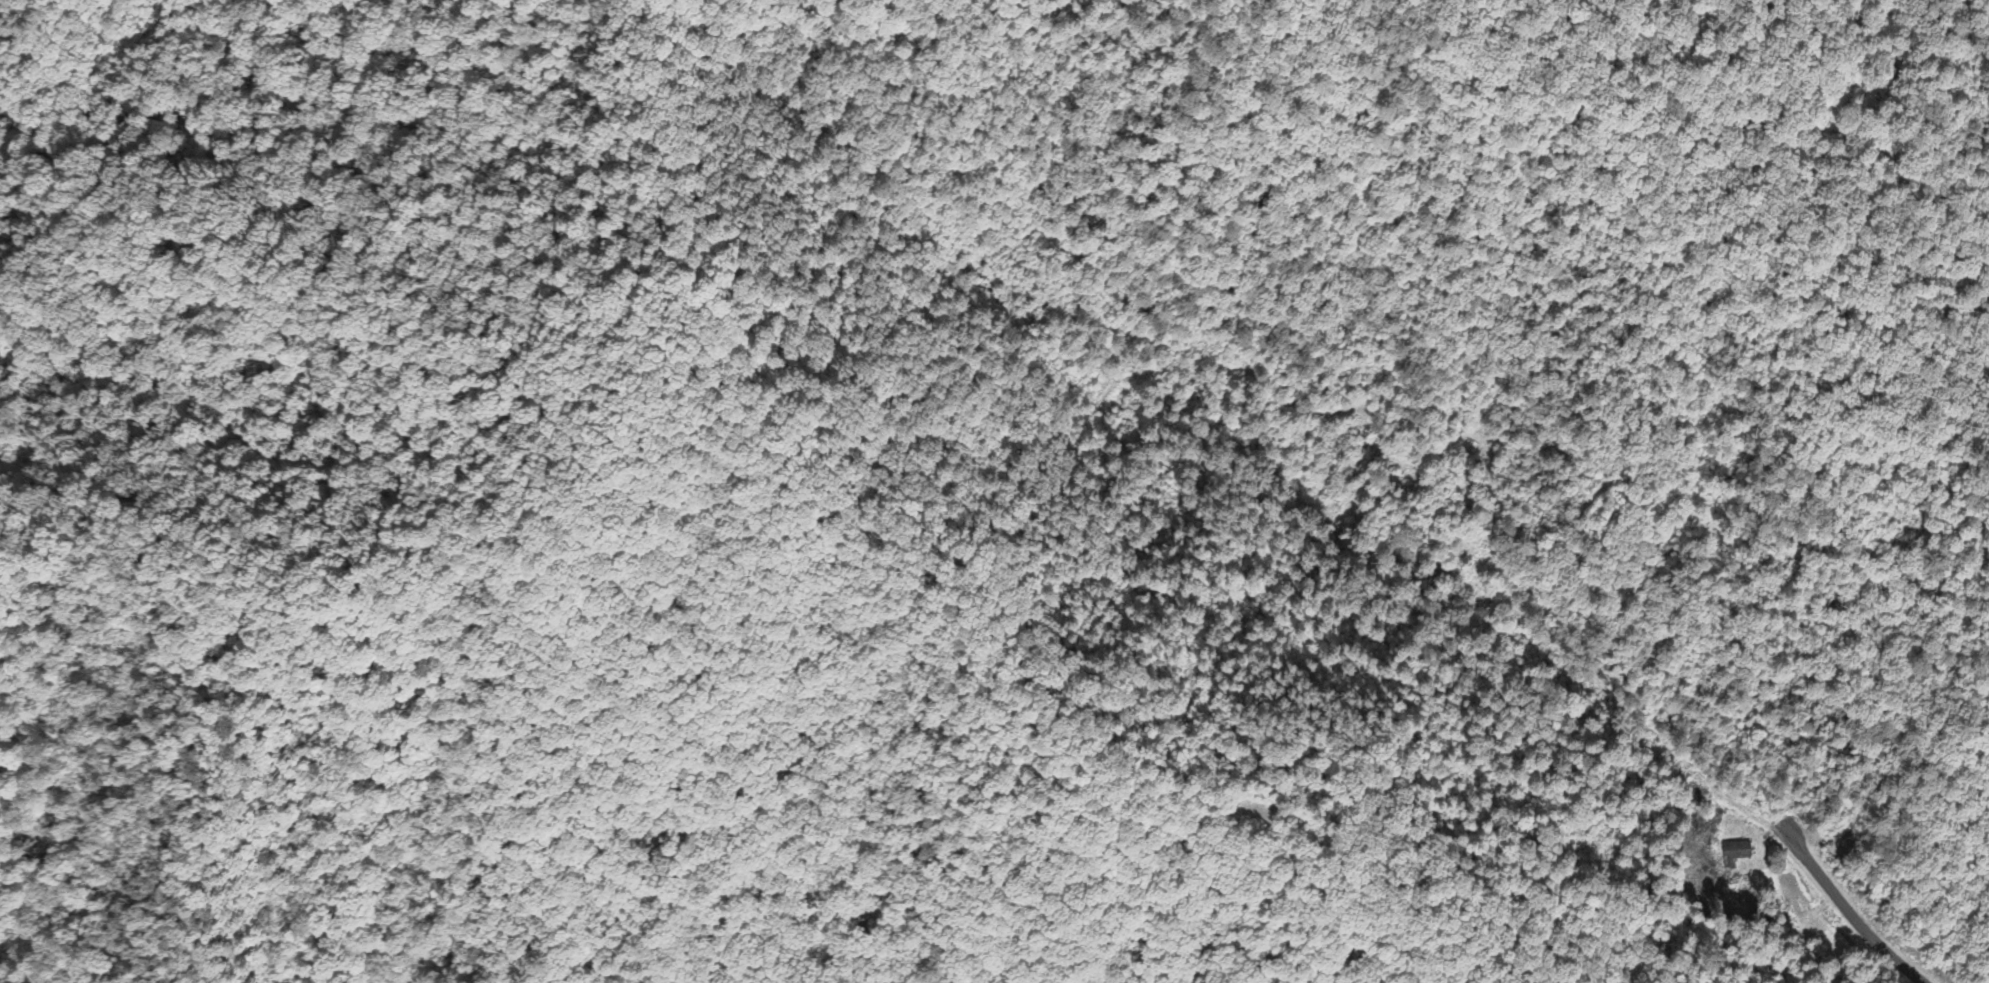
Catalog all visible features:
building: (1733, 853)
road: (1845, 910)

